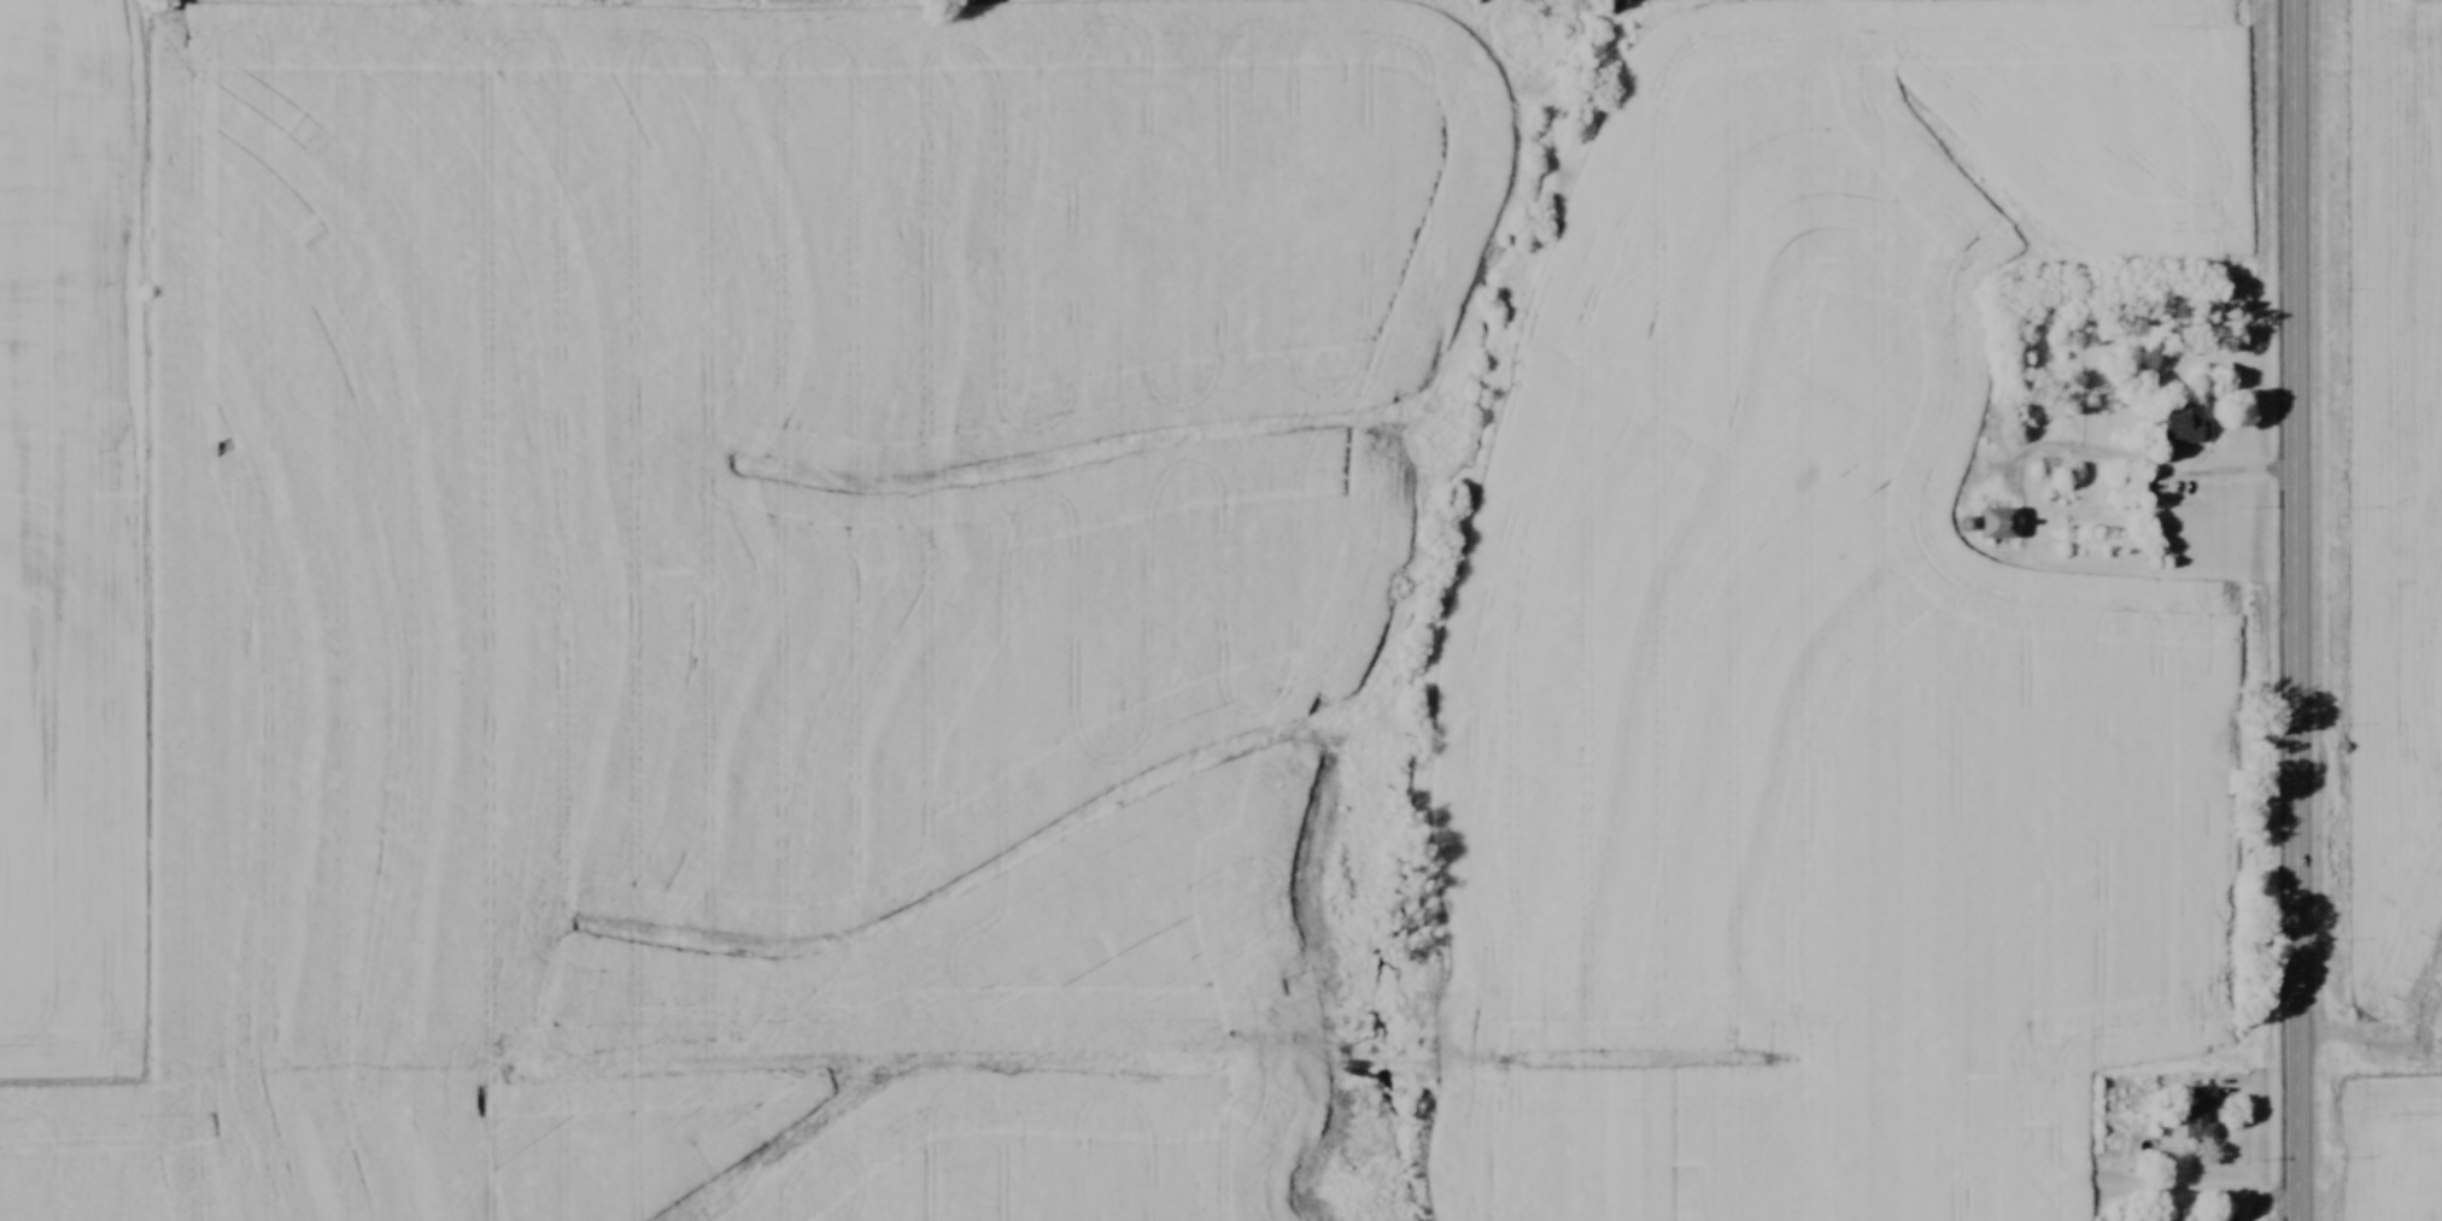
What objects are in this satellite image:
building: (2185, 423)
road: (2226, 475)
building: (1999, 523)
road: (2295, 610)
building: (2200, 1115)
road: (2277, 1204)

